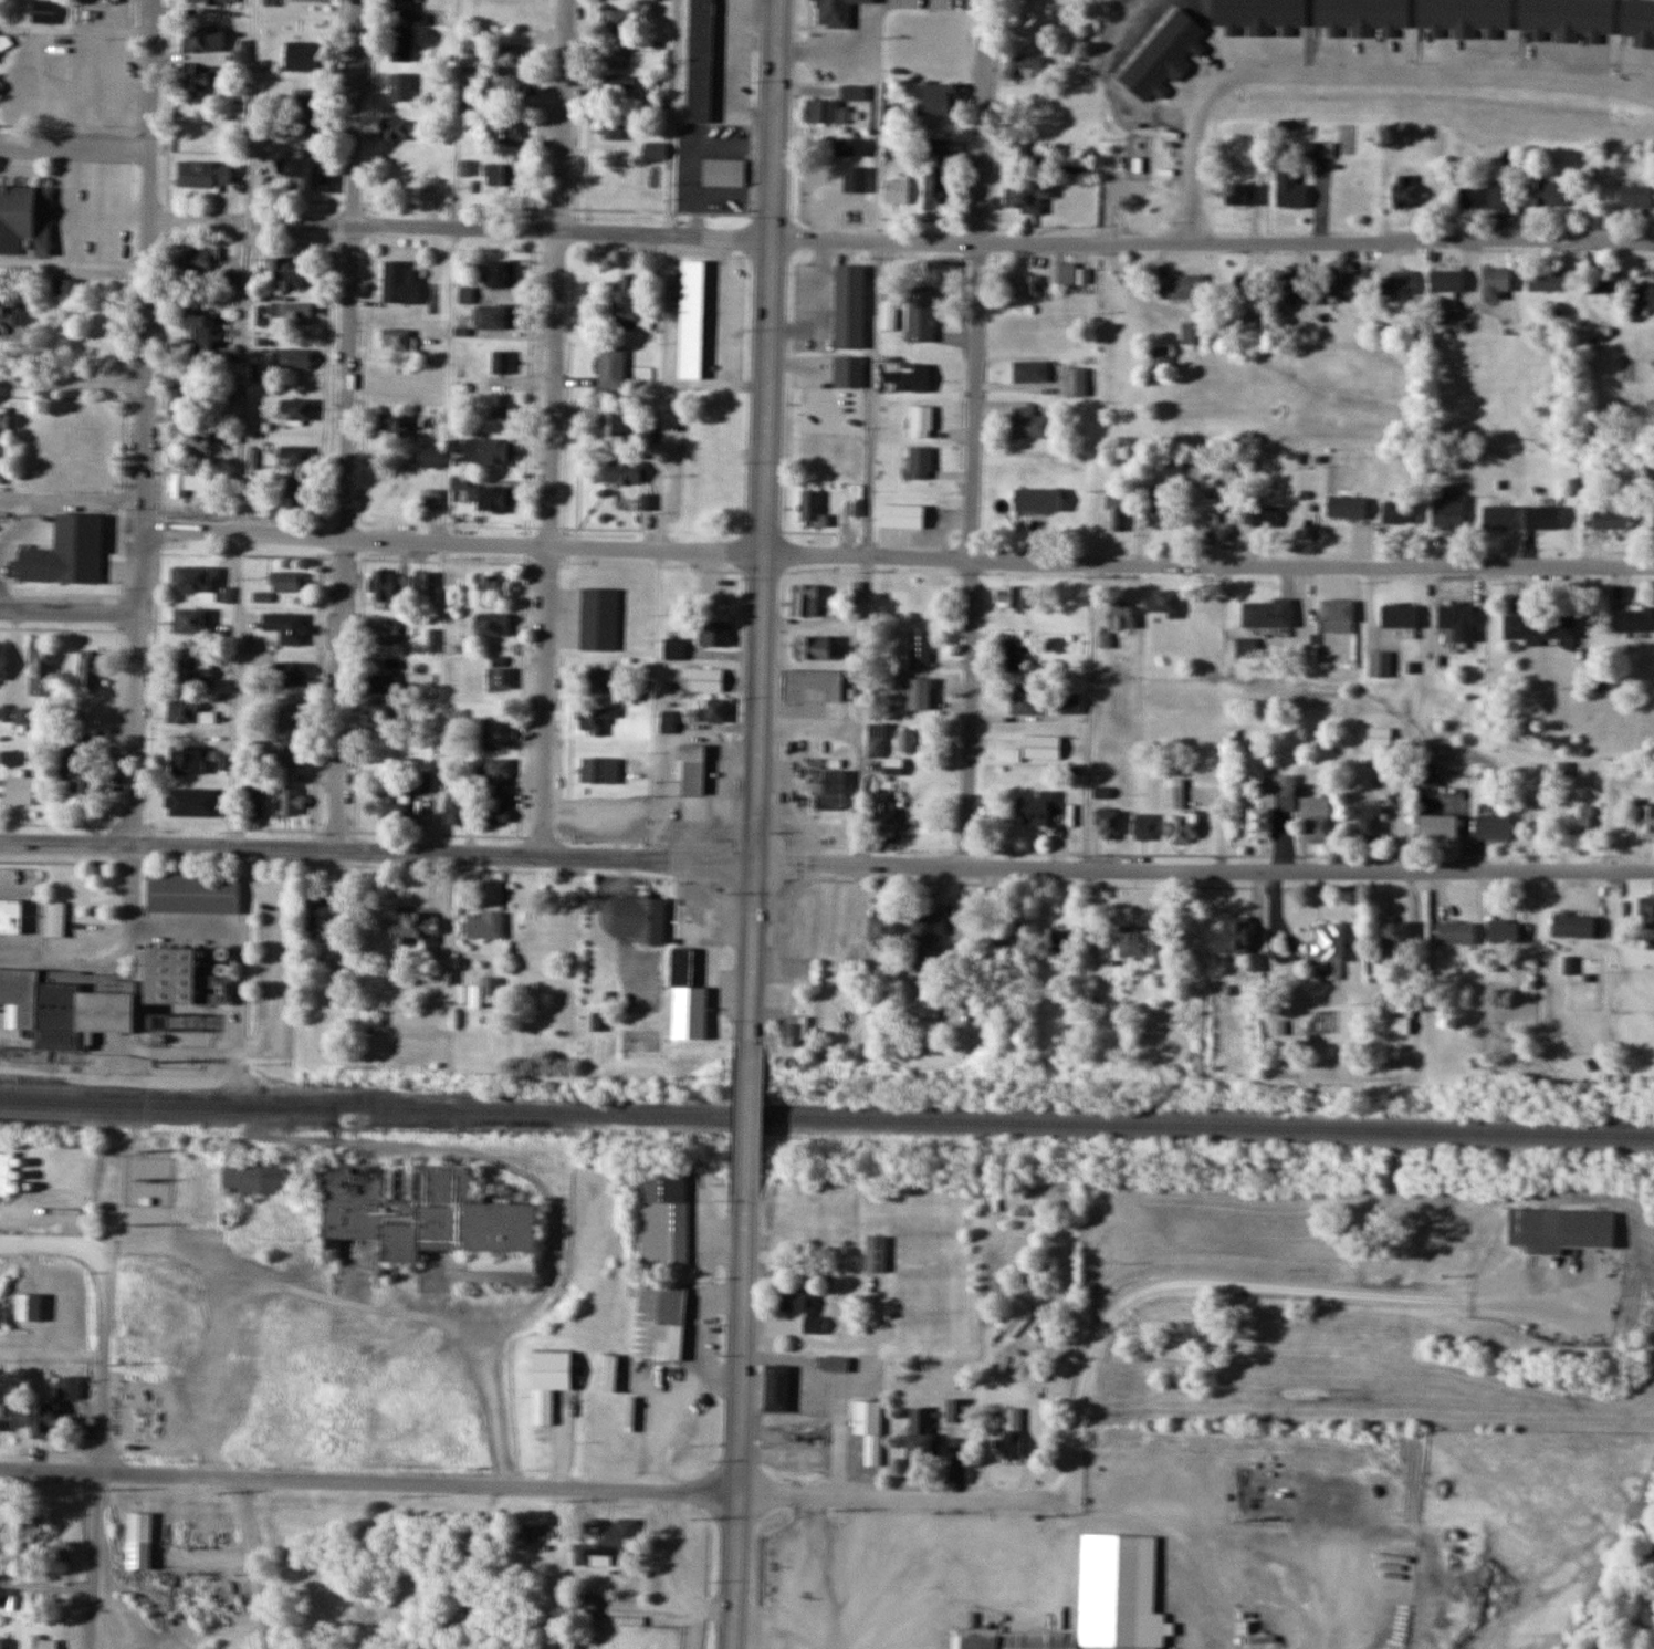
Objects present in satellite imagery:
building: (208, 2)
building: (36, 11)
building: (409, 12)
building: (824, 12)
building: (619, 21)
building: (202, 40)
building: (4, 42)
building: (402, 44)
building: (510, 55)
building: (823, 55)
building: (941, 55)
building: (304, 56)
building: (616, 56)
building: (701, 61)
building: (1024, 64)
road: (1350, 64)
building: (203, 81)
building: (859, 83)
building: (509, 84)
building: (619, 84)
building: (400, 86)
building: (1019, 86)
building: (939, 98)
building: (303, 106)
building: (826, 112)
building: (614, 128)
building: (399, 129)
building: (506, 132)
building: (850, 146)
road: (73, 148)
building: (655, 150)
building: (939, 150)
building: (1033, 154)
building: (1077, 165)
building: (1322, 167)
building: (720, 173)
building: (305, 174)
building: (202, 175)
building: (501, 175)
building: (856, 179)
building: (936, 189)
building: (1290, 190)
building: (897, 191)
building: (1404, 191)
building: (1244, 194)
building: (1549, 194)
building: (1485, 196)
building: (1028, 197)
building: (1636, 197)
building: (24, 220)
road: (898, 241)
building: (197, 259)
building: (287, 273)
building: (499, 273)
building: (1062, 273)
building: (233, 280)
building: (1548, 280)
building: (1447, 281)
building: (400, 282)
building: (1336, 283)
building: (1401, 283)
building: (1496, 283)
building: (1024, 285)
building: (1599, 285)
building: (0, 286)
building: (1186, 286)
building: (66, 288)
building: (1288, 288)
building: (1246, 291)
building: (925, 294)
building: (1644, 296)
building: (627, 302)
building: (850, 306)
building: (1451, 312)
building: (294, 314)
building: (494, 317)
building: (692, 319)
building: (7, 320)
building: (198, 332)
building: (1192, 333)
building: (396, 340)
building: (294, 358)
building: (1156, 361)
building: (502, 362)
building: (611, 366)
building: (1030, 370)
road: (70, 382)
building: (899, 382)
building: (1076, 383)
building: (188, 395)
building: (500, 406)
building: (297, 410)
building: (810, 418)
road: (137, 421)
building: (611, 421)
building: (3, 422)
building: (90, 422)
building: (921, 422)
building: (1032, 422)
road: (349, 424)
building: (395, 425)
road: (549, 426)
road: (974, 432)
building: (710, 435)
building: (190, 438)
building: (488, 452)
building: (295, 456)
building: (431, 457)
building: (921, 462)
building: (712, 465)
building: (96, 470)
building: (625, 472)
building: (181, 484)
building: (294, 488)
building: (483, 495)
building: (431, 499)
building: (1038, 501)
building: (714, 502)
building: (1164, 505)
building: (1348, 507)
building: (1206, 508)
building: (812, 510)
building: (1449, 510)
building: (1401, 511)
building: (1119, 512)
building: (902, 515)
building: (1262, 515)
building: (1543, 516)
road: (760, 518)
building: (1500, 518)
building: (1611, 518)
building: (66, 552)
road: (889, 556)
building: (192, 580)
building: (423, 581)
building: (287, 582)
building: (492, 586)
building: (388, 588)
building: (1012, 597)
building: (804, 599)
building: (1163, 602)
road: (65, 612)
building: (1270, 613)
building: (1338, 615)
building: (1122, 616)
building: (1401, 616)
building: (1457, 616)
building: (600, 617)
building: (188, 619)
building: (1634, 620)
building: (493, 623)
building: (286, 625)
building: (1539, 627)
building: (383, 629)
building: (714, 632)
building: (813, 646)
building: (1247, 647)
building: (674, 648)
building: (920, 649)
building: (1011, 655)
building: (1, 659)
building: (1380, 664)
building: (91, 668)
building: (40, 670)
building: (193, 670)
building: (293, 671)
building: (500, 674)
building: (706, 679)
building: (598, 680)
building: (813, 682)
building: (381, 683)
building: (919, 692)
building: (1023, 699)
building: (1070, 703)
building: (383, 710)
building: (714, 710)
building: (189, 711)
building: (289, 713)
building: (597, 719)
building: (668, 721)
building: (496, 732)
building: (1380, 735)
building: (905, 740)
building: (875, 745)
building: (1041, 747)
building: (381, 750)
building: (287, 751)
building: (187, 759)
building: (893, 765)
building: (692, 768)
building: (74, 770)
building: (600, 770)
building: (499, 772)
building: (1428, 773)
building: (426, 782)
building: (834, 787)
building: (18, 790)
building: (1174, 793)
building: (290, 801)
building: (395, 806)
building: (1271, 806)
building: (496, 807)
building: (255, 808)
building: (457, 808)
building: (1035, 810)
building: (883, 816)
building: (1319, 816)
building: (1581, 820)
building: (920, 821)
building: (1647, 821)
building: (1109, 823)
building: (1370, 823)
building: (1437, 825)
building: (1145, 826)
building: (1496, 826)
building: (1182, 827)
traffic signals: (752, 860)
road: (826, 862)
building: (193, 893)
building: (9, 915)
building: (1646, 915)
building: (636, 917)
building: (53, 918)
building: (324, 920)
building: (417, 923)
building: (1574, 923)
building: (485, 926)
building: (1505, 930)
building: (1456, 931)
building: (925, 932)
building: (1396, 933)
building: (1233, 935)
building: (1001, 937)
building: (1137, 942)
building: (1064, 944)
building: (1331, 947)
building: (705, 956)
building: (682, 966)
building: (479, 990)
building: (98, 992)
building: (928, 998)
building: (598, 1021)
building: (1399, 1025)
building: (794, 1030)
building: (1289, 1042)
railway: (232, 1094)
railway: (167, 1114)
road: (747, 1116)
railway: (826, 1117)
building: (4, 1171)
building: (226, 1178)
building: (427, 1211)
building: (666, 1220)
building: (1566, 1225)
road: (10, 1240)
building: (876, 1253)
building: (494, 1270)
road: (1193, 1275)
building: (28, 1305)
building: (804, 1308)
building: (660, 1321)
building: (606, 1373)
building: (548, 1379)
building: (66, 1387)
building: (776, 1387)
road: (102, 1405)
building: (956, 1409)
building: (6, 1415)
building: (41, 1420)
road: (740, 1422)
building: (869, 1427)
building: (920, 1431)
building: (1015, 1443)
road: (528, 1486)
building: (29, 1531)
building: (137, 1541)
building: (604, 1543)
building: (52, 1554)
road: (253, 1563)
building: (1099, 1599)
building: (582, 1605)
building: (42, 1642)
building: (6, 1643)

